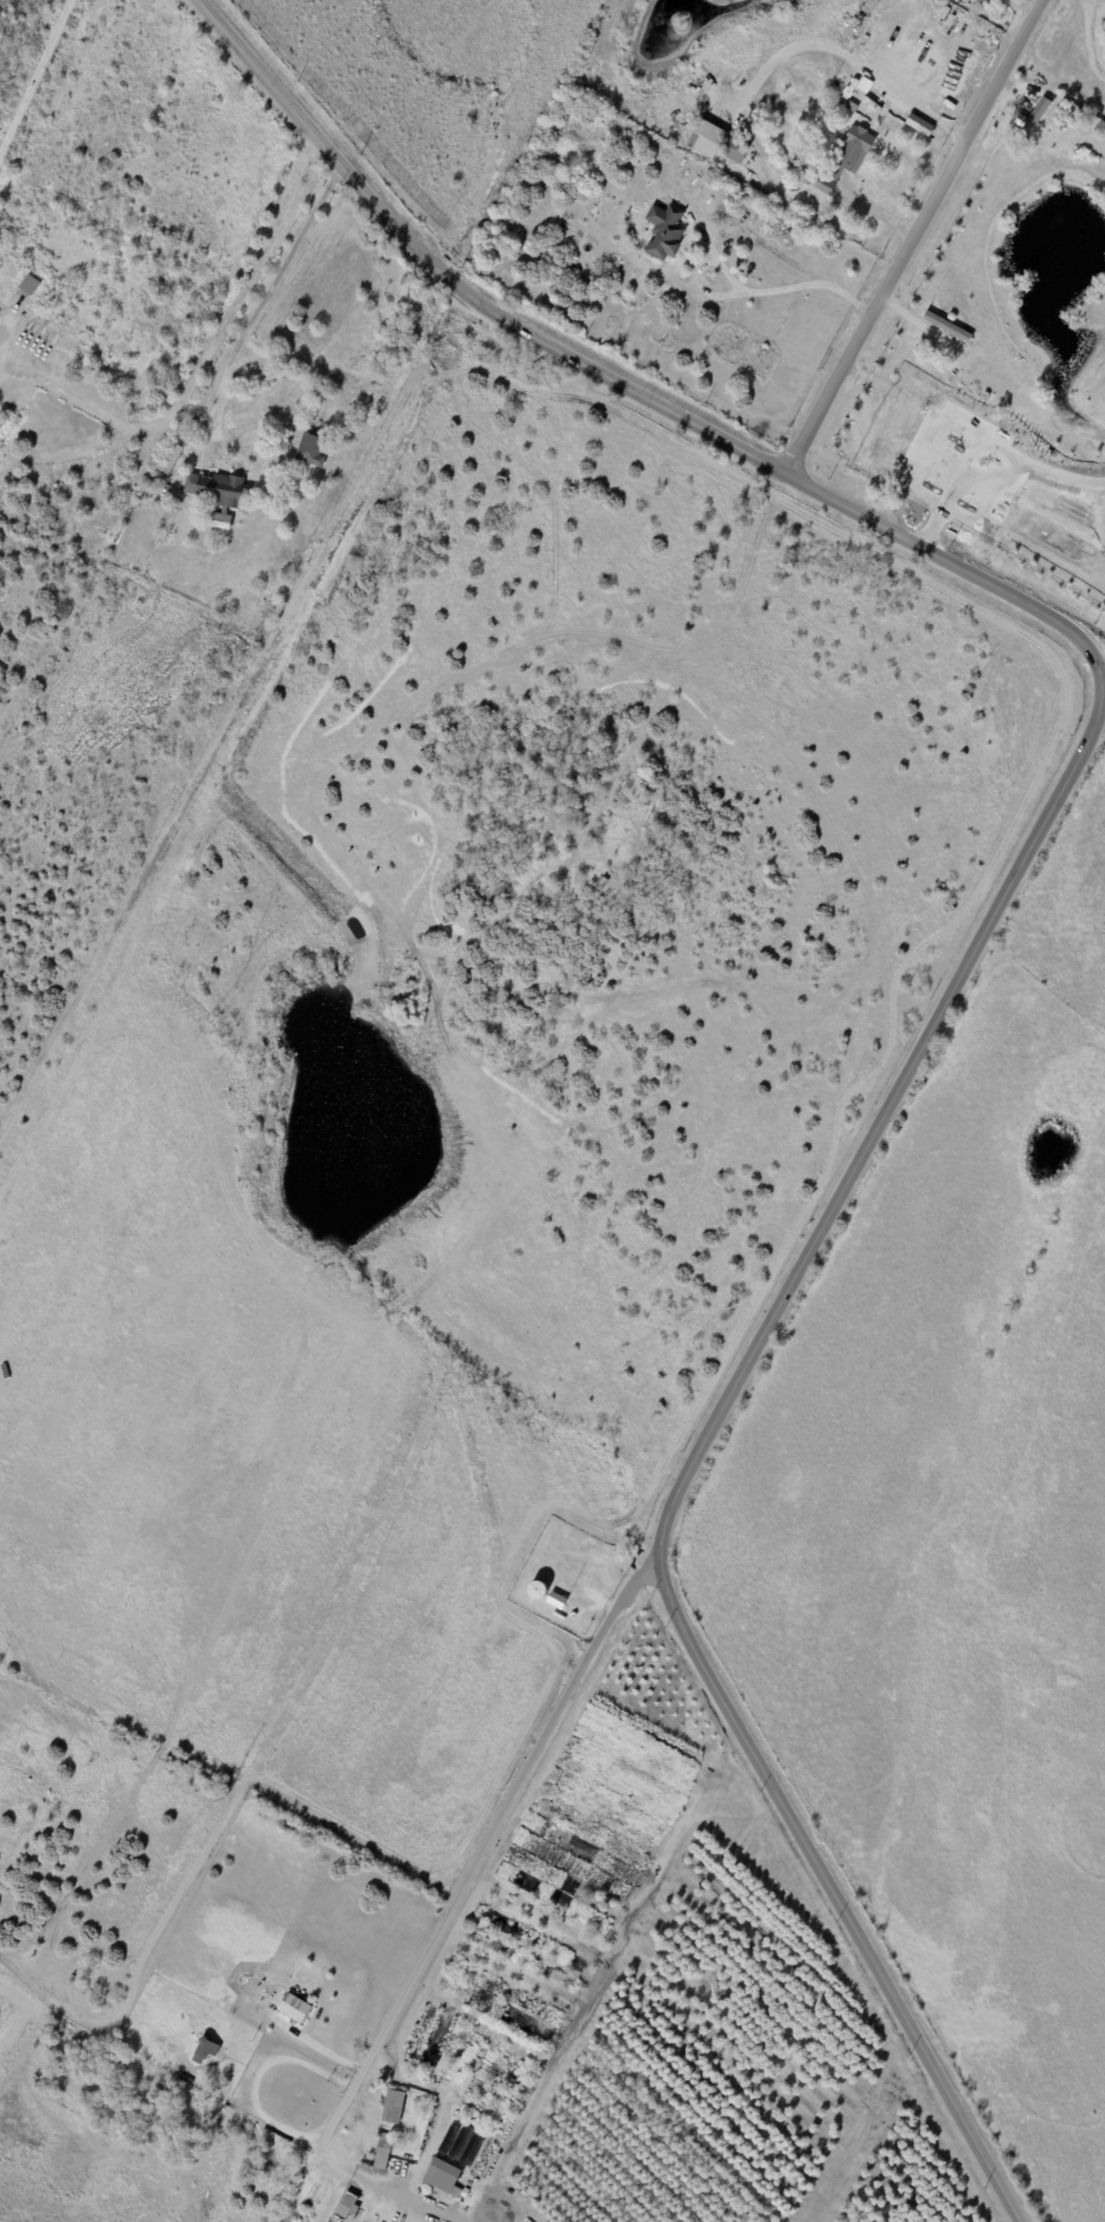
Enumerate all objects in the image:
road: (961, 25)
road: (1058, 76)
road: (35, 77)
road: (899, 92)
building: (872, 111)
building: (1030, 118)
building: (920, 125)
building: (706, 139)
building: (734, 150)
building: (845, 159)
road: (762, 172)
building: (665, 232)
road: (920, 244)
building: (1, 266)
building: (7, 269)
building: (31, 272)
building: (27, 286)
road: (267, 292)
road: (754, 292)
building: (945, 327)
road: (202, 364)
road: (617, 383)
building: (985, 398)
building: (918, 446)
building: (309, 451)
building: (169, 460)
building: (315, 478)
building: (216, 496)
building: (271, 605)
building: (264, 619)
road: (1103, 693)
road: (882, 1122)
building: (556, 1602)
building: (707, 1774)
road: (833, 1895)
road: (446, 1908)
building: (294, 2008)
building: (206, 2051)
road: (301, 2063)
building: (162, 2067)
building: (392, 2106)
road: (269, 2123)
building: (448, 2140)
building: (459, 2146)
building: (381, 2151)
building: (471, 2151)
building: (441, 2176)
building: (345, 2206)

